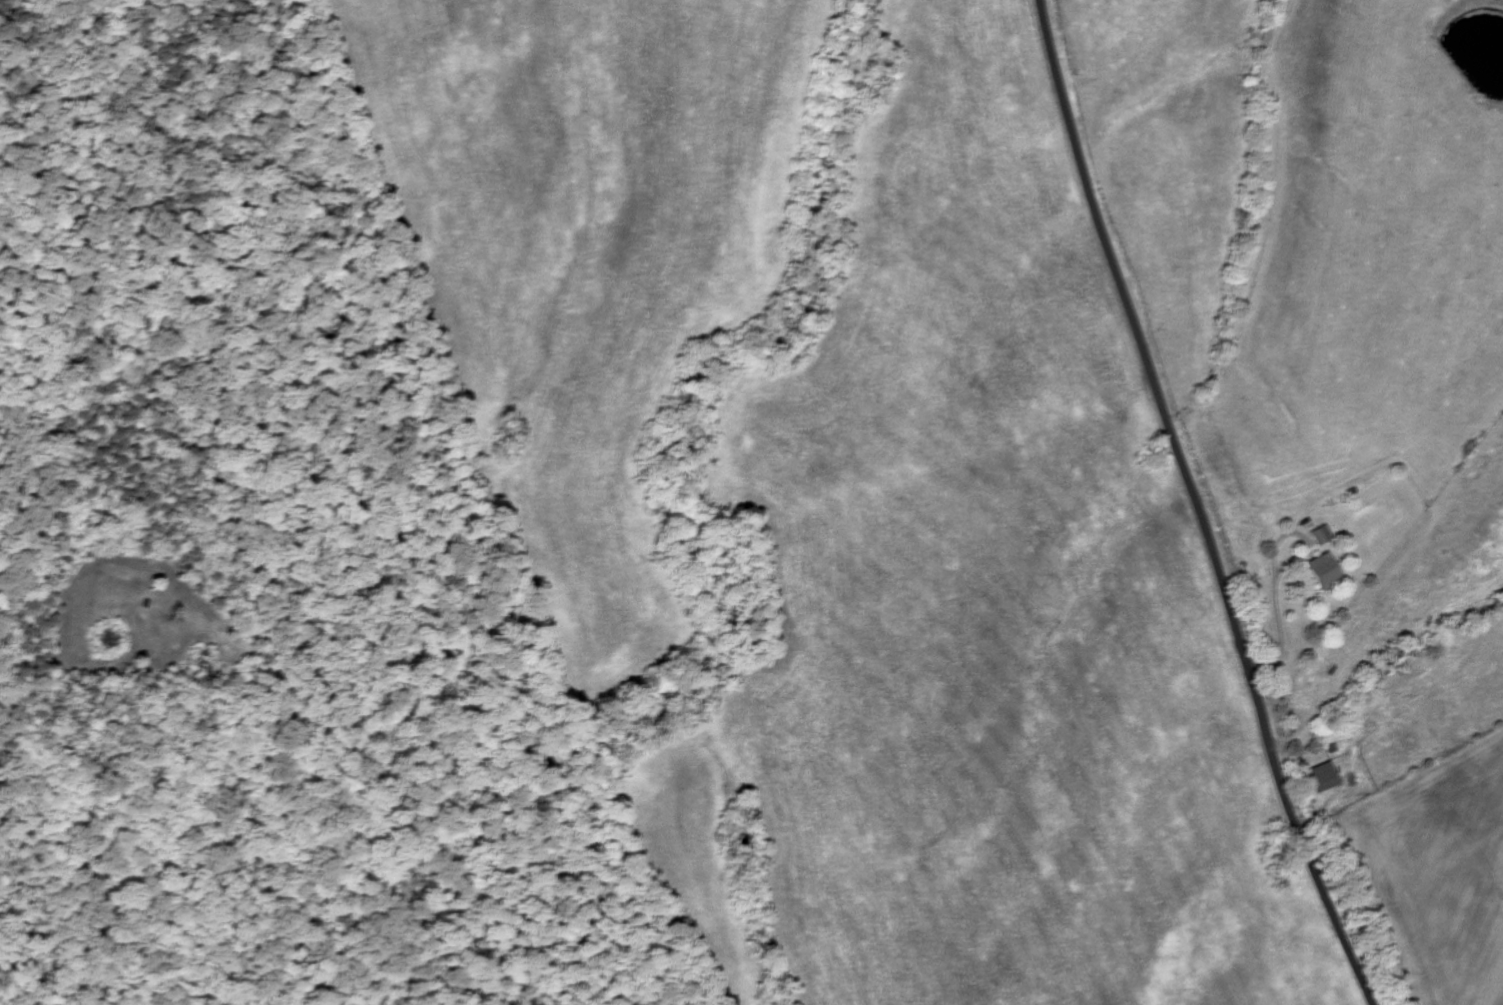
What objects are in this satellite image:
road: (1199, 505)
building: (1323, 536)
building: (1325, 572)
building: (1325, 778)

